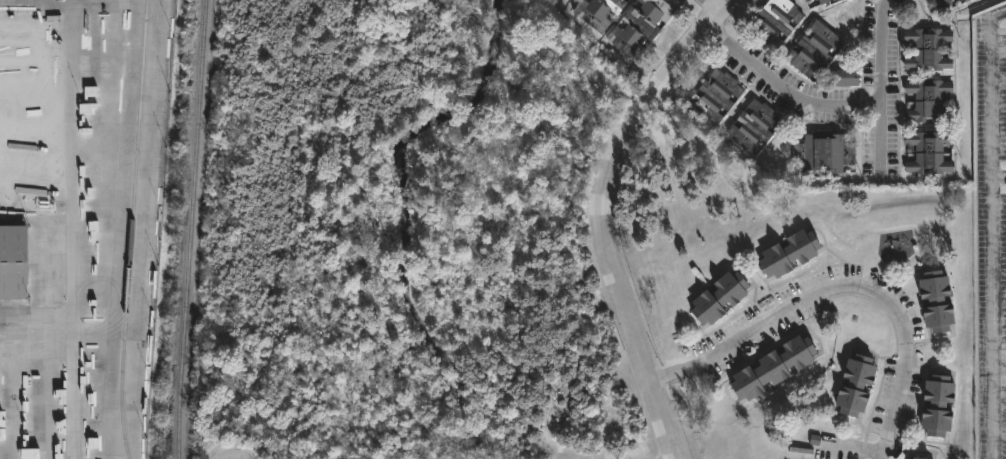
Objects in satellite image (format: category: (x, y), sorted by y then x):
building: (816, 0)
building: (804, 1)
building: (823, 1)
building: (927, 1)
building: (942, 3)
road: (711, 6)
building: (601, 12)
building: (773, 21)
building: (642, 26)
building: (812, 50)
building: (926, 50)
road: (880, 53)
building: (842, 78)
road: (780, 88)
building: (719, 95)
road: (991, 96)
building: (926, 103)
building: (757, 126)
road: (876, 132)
building: (821, 152)
building: (927, 152)
road: (601, 215)
railway: (129, 229)
railway: (189, 229)
building: (784, 251)
building: (14, 262)
road: (843, 281)
building: (714, 296)
building: (932, 299)
road: (993, 317)
building: (767, 367)
building: (851, 384)
building: (932, 404)
building: (915, 457)

